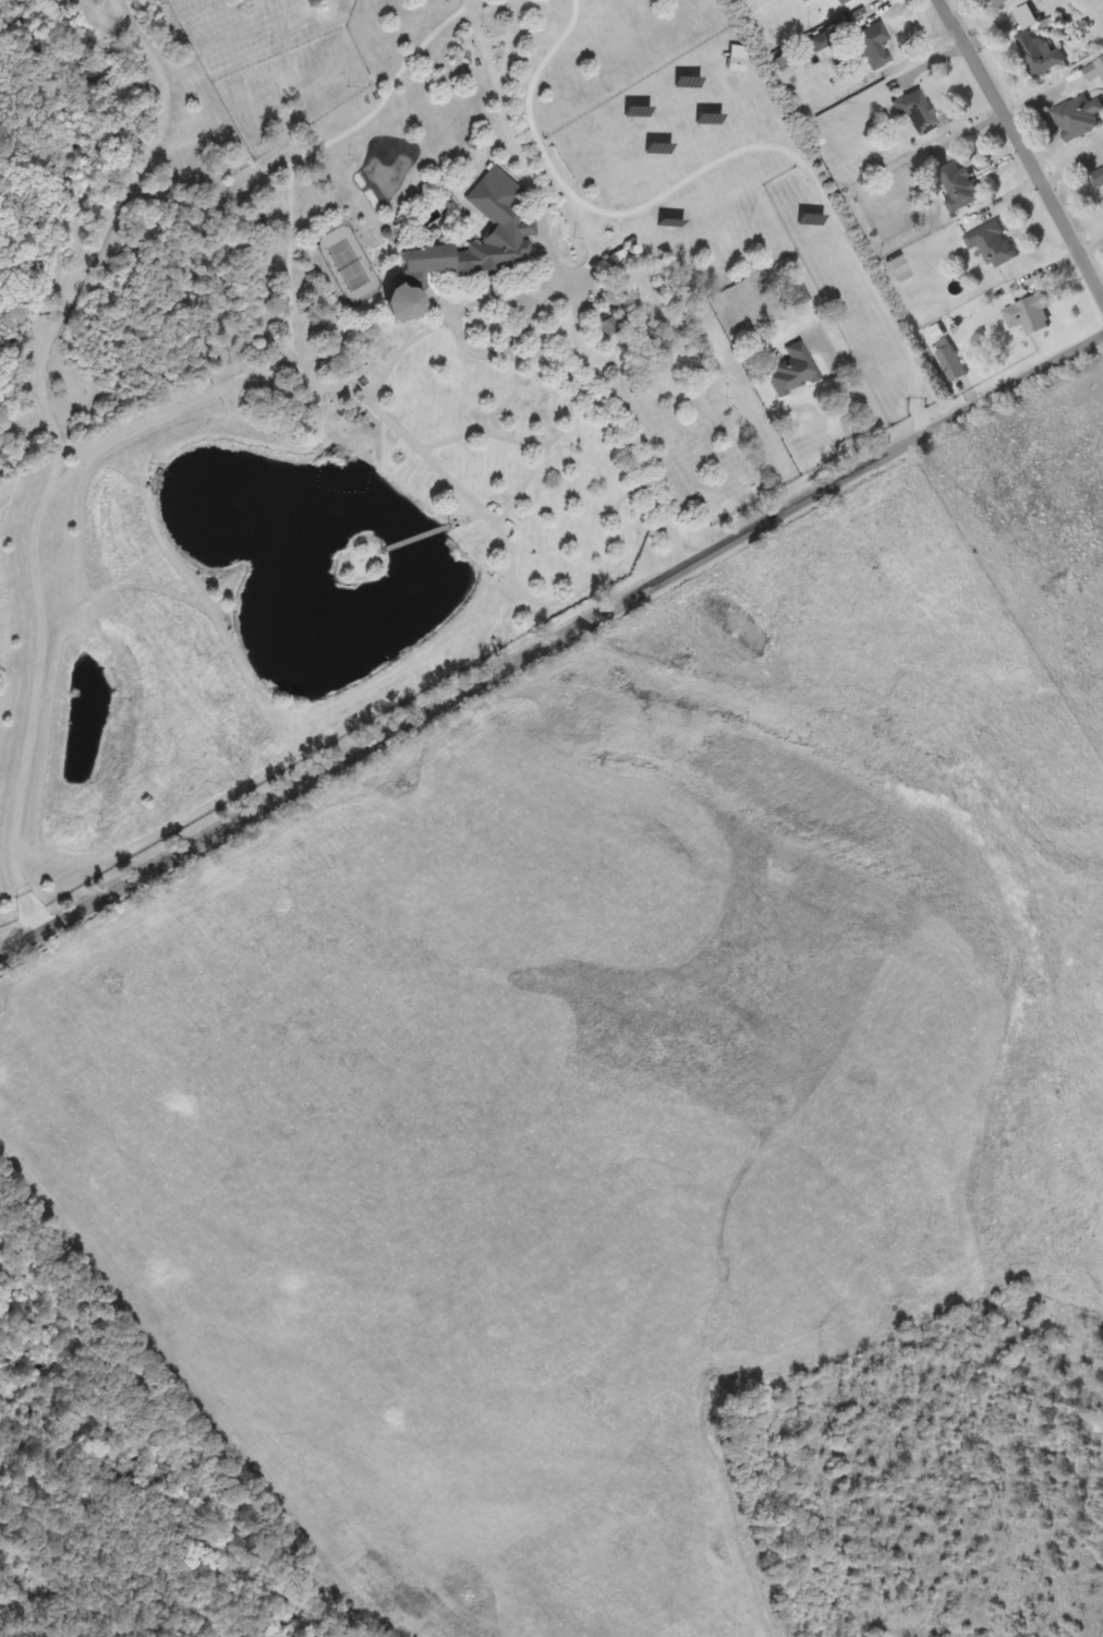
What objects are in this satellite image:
building: (841, 1)
building: (999, 1)
building: (873, 44)
building: (1037, 45)
building: (736, 63)
building: (1086, 74)
building: (918, 110)
building: (1079, 116)
road: (1014, 170)
building: (1099, 176)
building: (959, 185)
building: (993, 242)
building: (469, 244)
building: (899, 267)
building: (1030, 314)
building: (952, 362)
building: (795, 369)
road: (551, 654)

